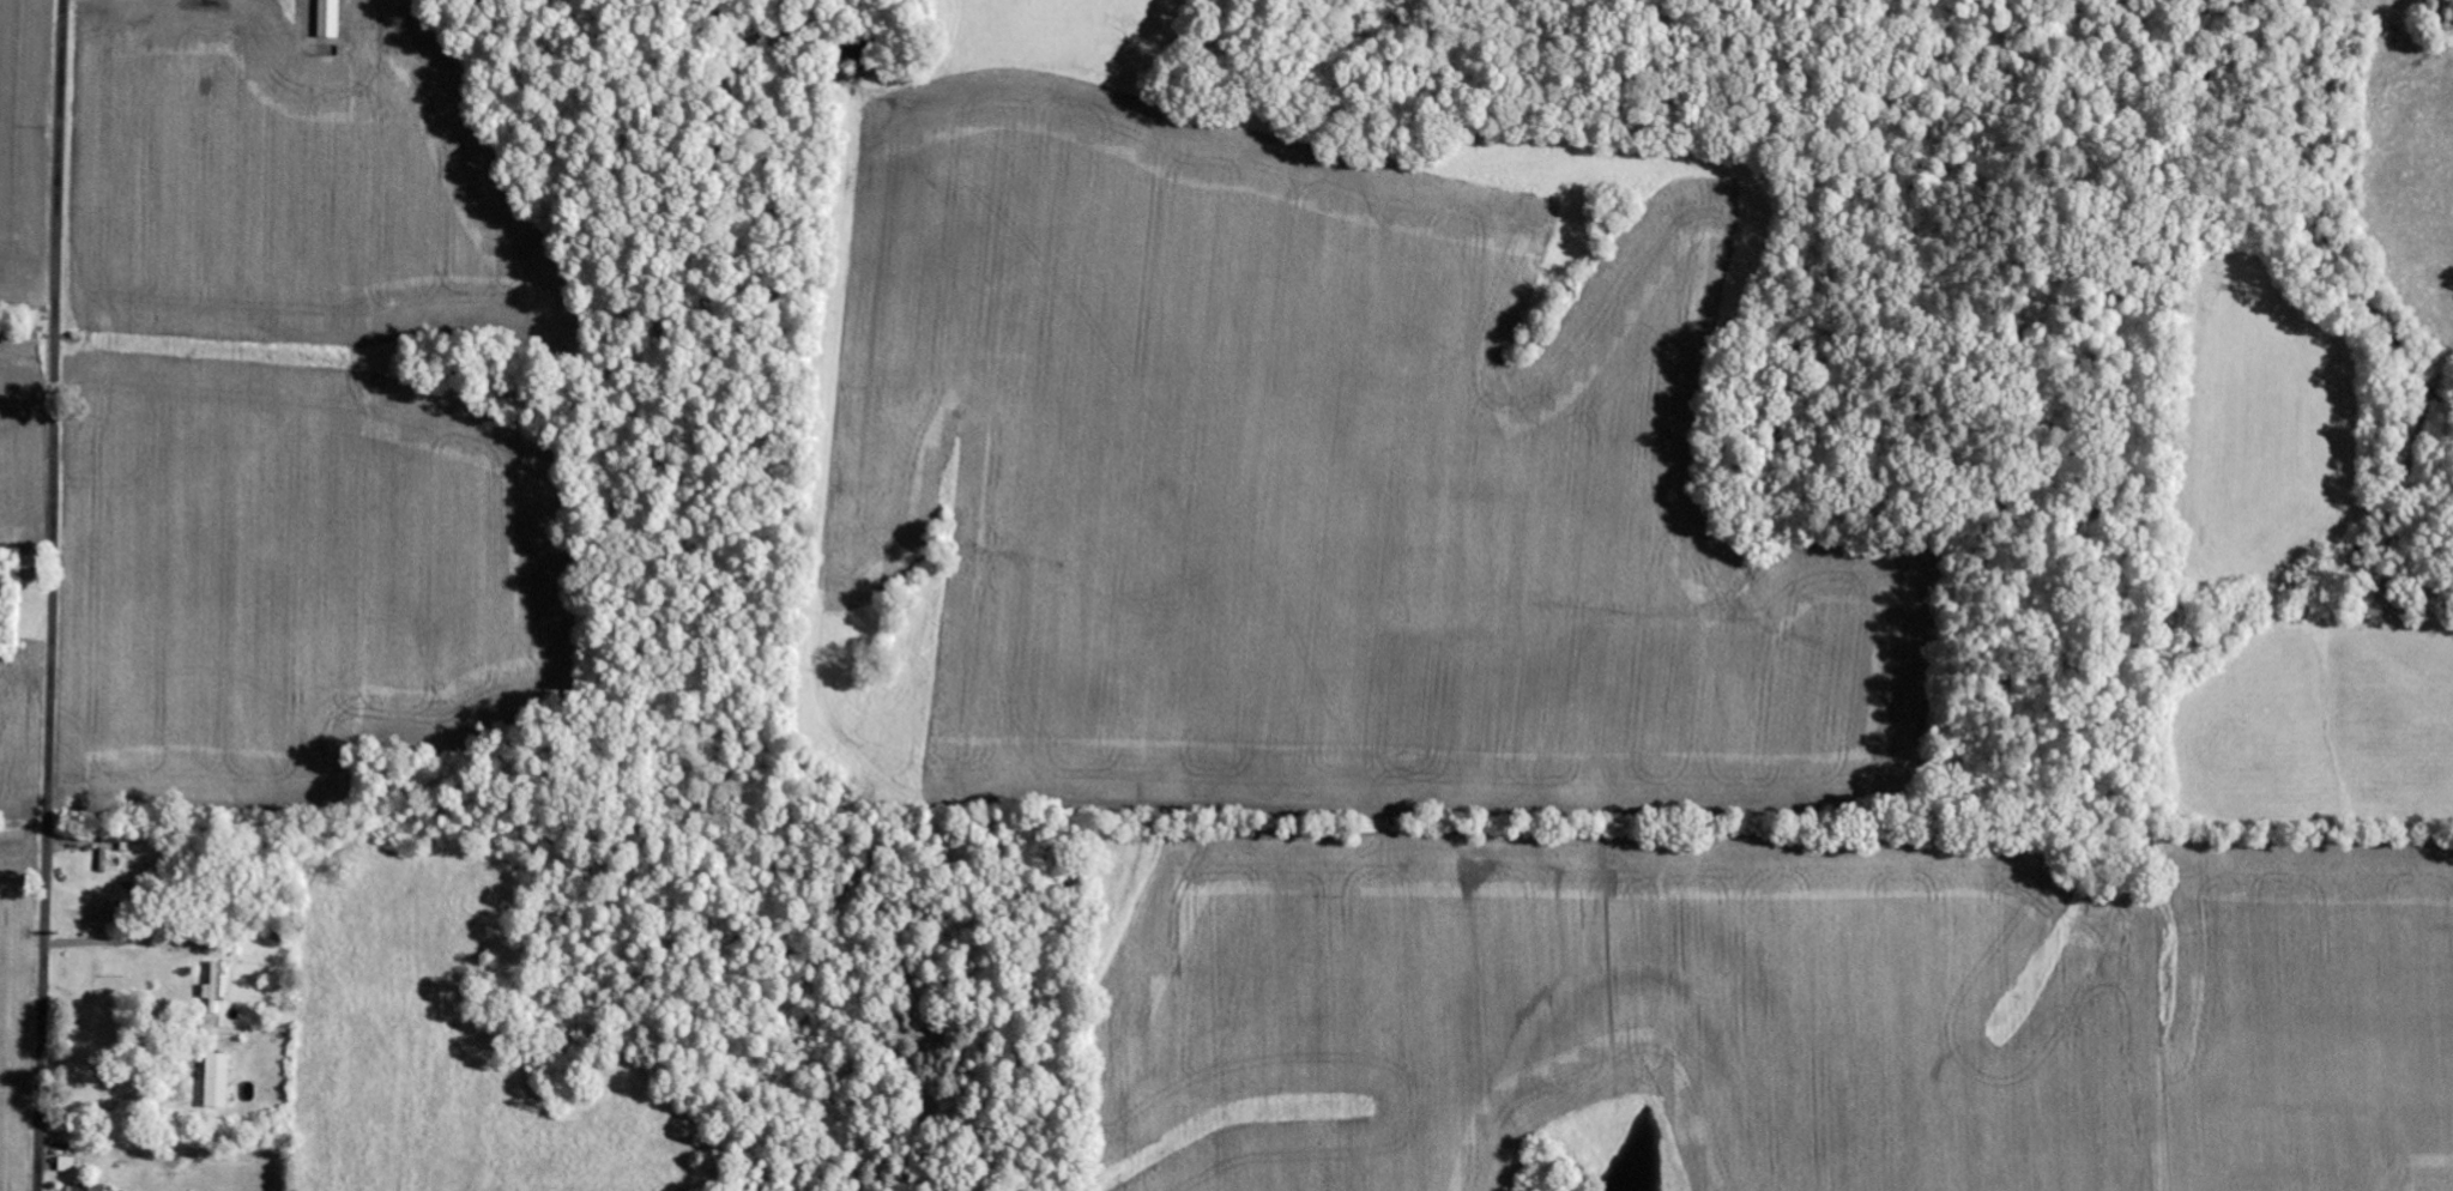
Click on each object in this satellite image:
building: (331, 18)
road: (52, 595)
building: (216, 989)
building: (219, 1082)
building: (87, 1187)

